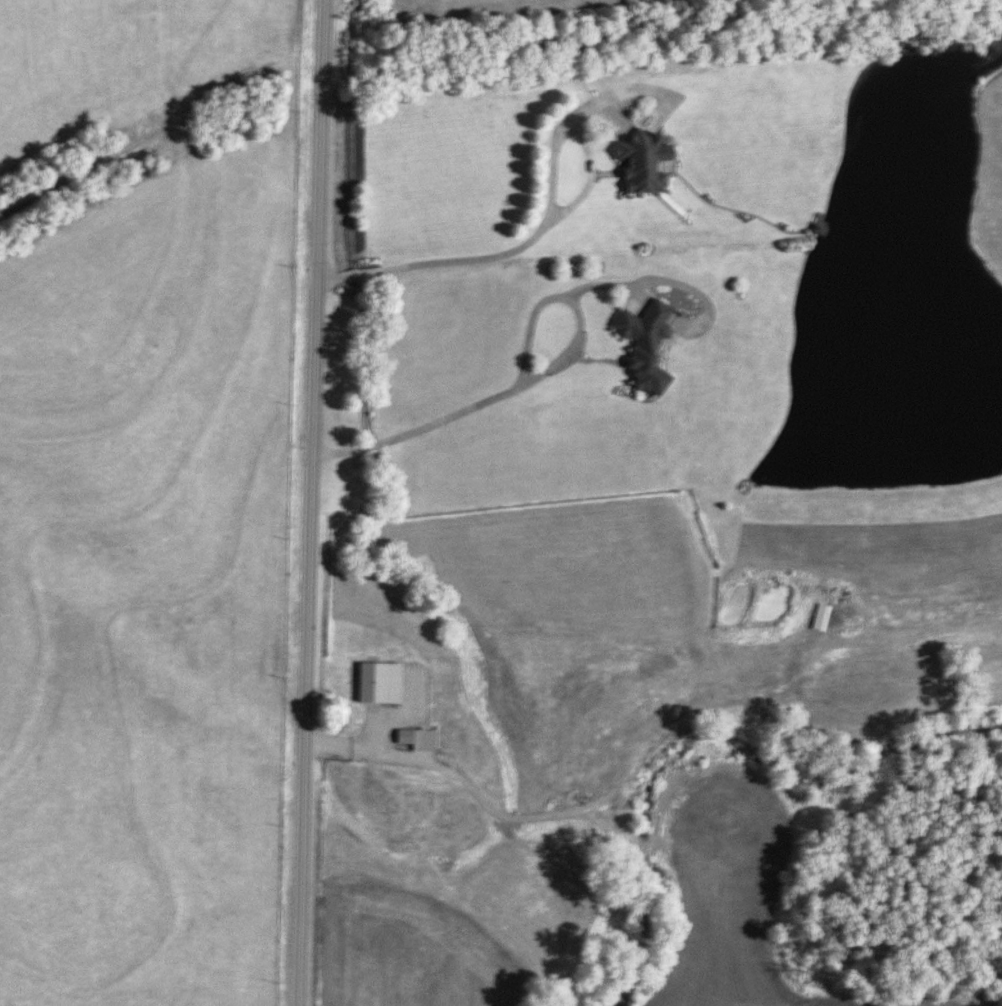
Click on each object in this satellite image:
building: (640, 162)
road: (542, 222)
building: (642, 345)
road: (519, 376)
road: (310, 502)
building: (817, 618)
building: (364, 690)
building: (447, 709)
building: (409, 739)
building: (413, 816)

